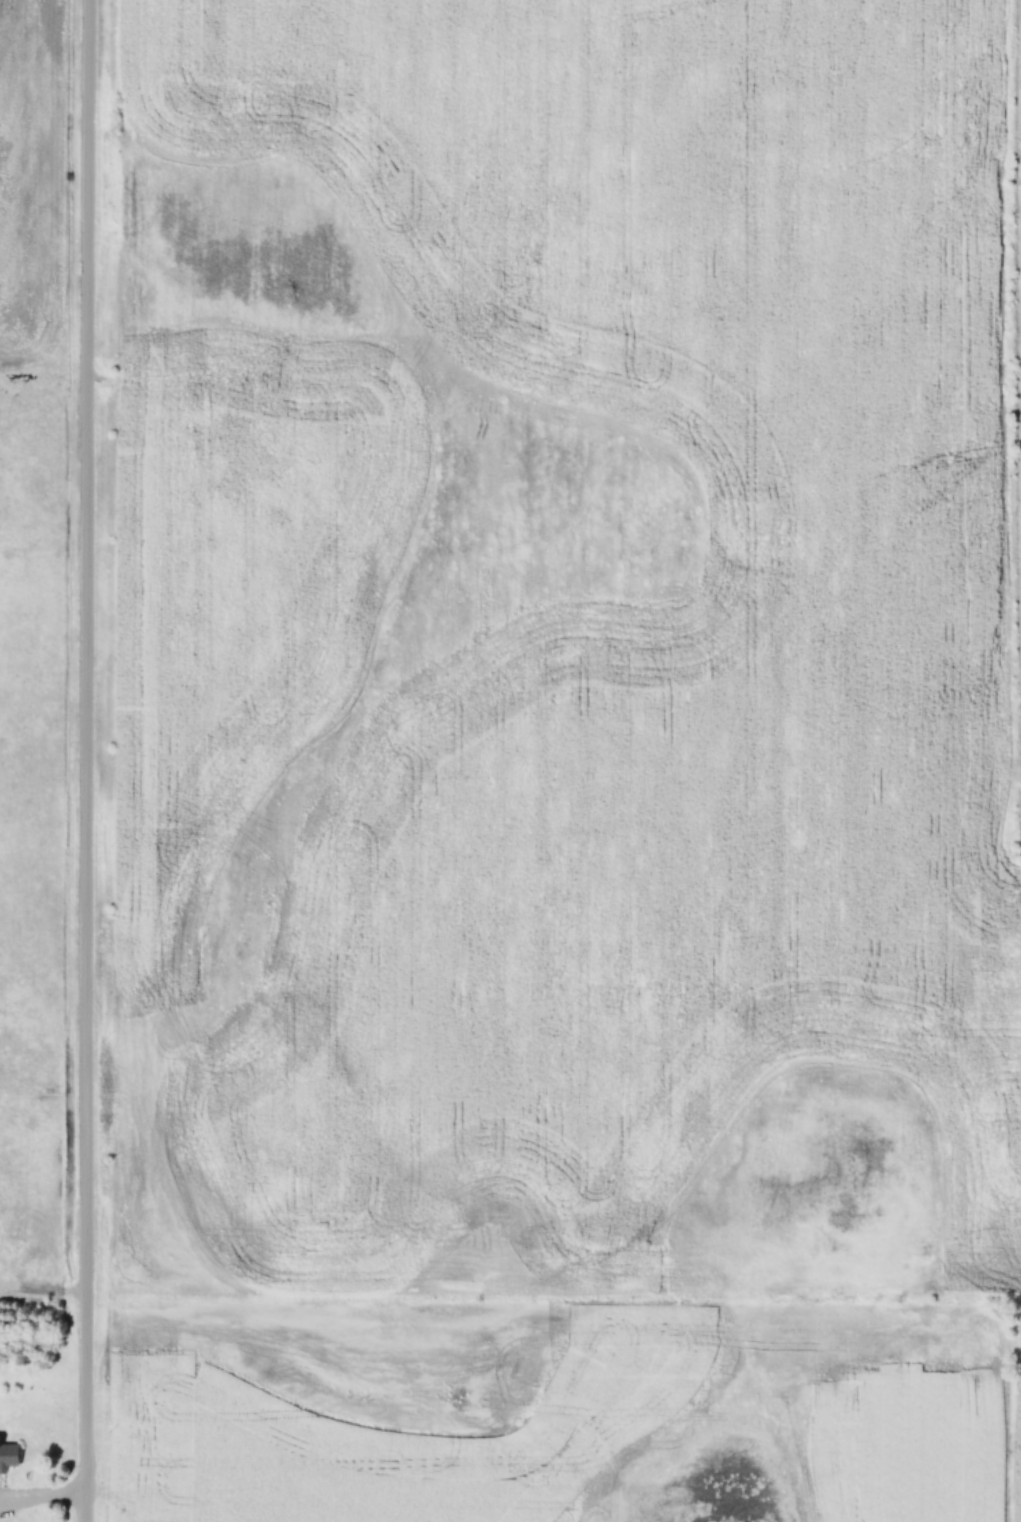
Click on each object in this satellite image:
road: (88, 761)
building: (10, 1455)
road: (42, 1496)

